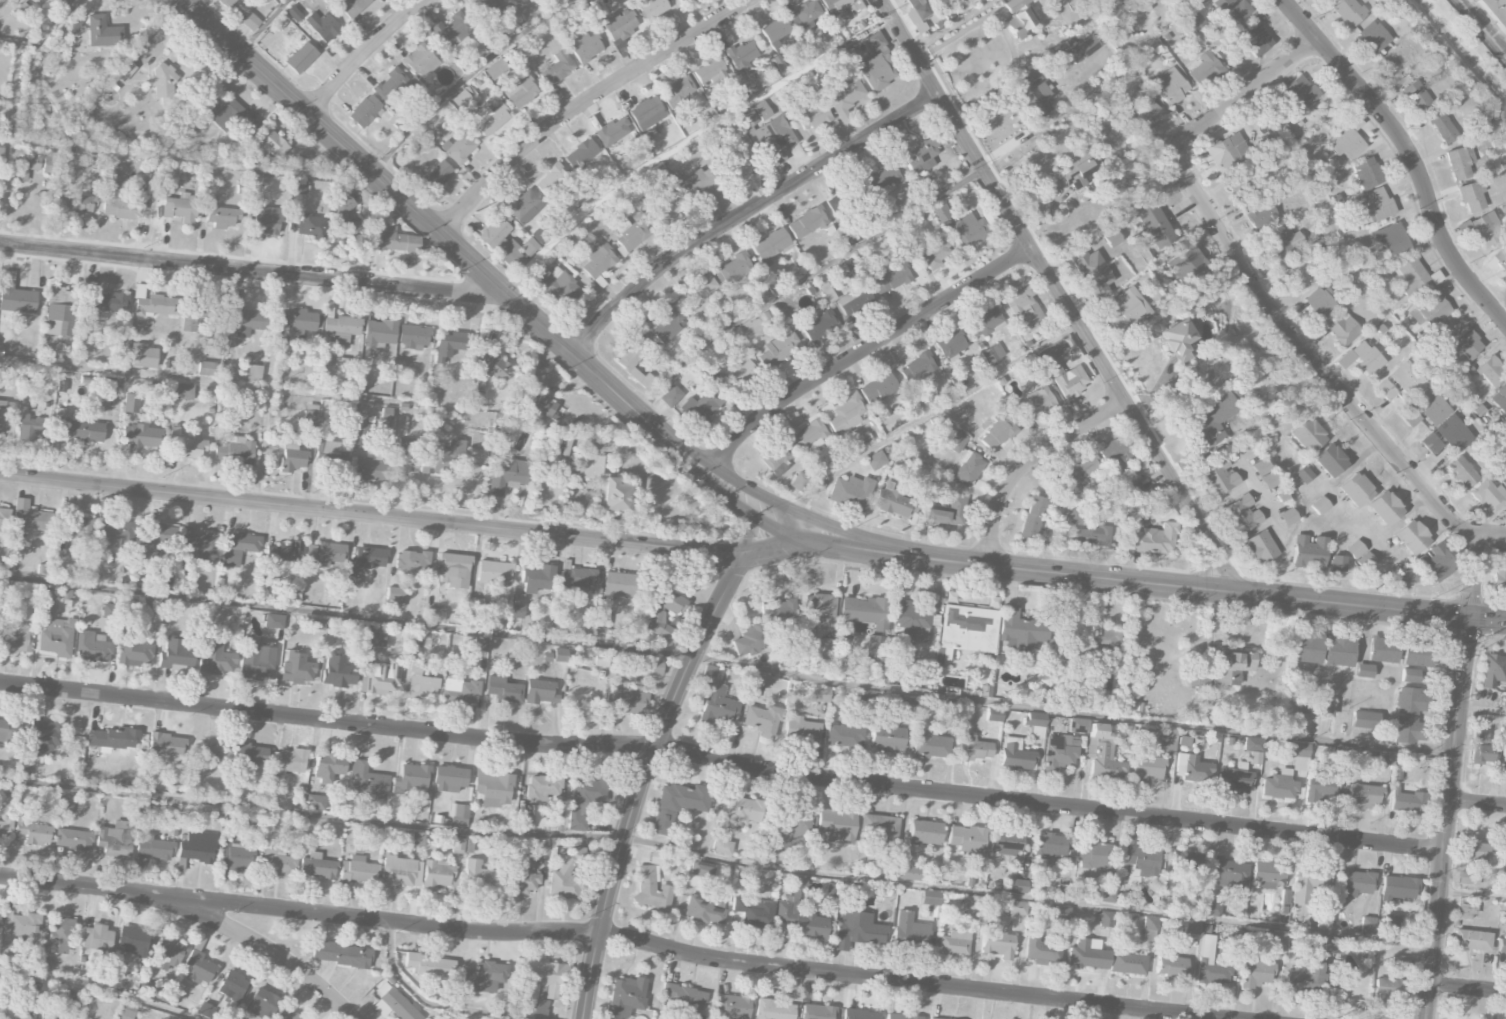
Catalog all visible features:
building: (1203, 0)
building: (1324, 0)
building: (682, 1)
building: (227, 3)
building: (60, 4)
building: (488, 5)
building: (352, 7)
building: (842, 7)
building: (652, 8)
building: (1138, 8)
building: (1232, 10)
building: (1348, 11)
building: (1495, 12)
building: (917, 13)
building: (804, 16)
building: (1018, 17)
building: (250, 21)
building: (1196, 22)
building: (619, 24)
road: (263, 26)
building: (322, 26)
building: (102, 32)
building: (450, 32)
building: (774, 32)
building: (1373, 36)
building: (1254, 39)
building: (875, 40)
building: (586, 47)
building: (1082, 48)
road: (363, 55)
building: (742, 56)
building: (301, 57)
building: (421, 60)
building: (557, 68)
building: (1204, 68)
building: (124, 70)
building: (874, 72)
building: (710, 73)
road: (468, 78)
building: (162, 82)
building: (393, 85)
building: (1170, 86)
building: (521, 91)
building: (1299, 91)
building: (678, 92)
building: (1033, 92)
building: (842, 93)
building: (1417, 97)
road: (584, 104)
building: (364, 111)
building: (646, 113)
building: (1147, 113)
building: (231, 116)
building: (813, 116)
building: (490, 120)
building: (1441, 126)
building: (612, 131)
road: (688, 140)
building: (1345, 142)
building: (270, 144)
building: (460, 148)
building: (1226, 151)
building: (581, 152)
building: (1, 155)
road: (1408, 155)
building: (920, 156)
road: (186, 161)
building: (743, 162)
building: (1459, 162)
building: (26, 165)
building: (49, 165)
building: (1076, 167)
building: (1366, 173)
building: (437, 175)
building: (882, 177)
building: (551, 179)
building: (700, 183)
building: (298, 186)
building: (1100, 191)
building: (1470, 196)
building: (118, 197)
building: (75, 203)
building: (1378, 204)
building: (666, 205)
building: (524, 206)
building: (179, 208)
road: (747, 212)
building: (1259, 213)
building: (222, 217)
building: (268, 220)
building: (346, 221)
building: (807, 222)
building: (1156, 224)
building: (311, 225)
building: (1487, 228)
building: (967, 231)
building: (631, 233)
building: (390, 238)
building: (1112, 238)
building: (1391, 238)
building: (503, 242)
building: (1282, 242)
building: (770, 245)
building: (528, 247)
building: (934, 252)
building: (1498, 259)
building: (598, 260)
building: (1188, 266)
building: (734, 268)
road: (256, 272)
building: (1092, 272)
building: (1302, 272)
building: (1410, 275)
road: (803, 279)
building: (890, 279)
building: (558, 284)
road: (1253, 288)
building: (699, 290)
building: (15, 295)
road: (1061, 297)
building: (854, 300)
building: (108, 302)
building: (1321, 302)
building: (154, 305)
building: (1430, 308)
building: (1024, 309)
building: (60, 311)
building: (1126, 311)
building: (194, 314)
building: (246, 321)
building: (666, 322)
building: (985, 322)
building: (298, 323)
building: (819, 326)
building: (341, 327)
building: (1343, 329)
building: (380, 332)
building: (414, 337)
building: (1178, 337)
building: (951, 344)
building: (1466, 344)
building: (448, 345)
building: (779, 349)
building: (631, 353)
road: (864, 353)
building: (992, 354)
building: (143, 356)
building: (1367, 357)
building: (918, 367)
building: (206, 368)
building: (1053, 368)
building: (497, 369)
building: (740, 369)
building: (1490, 372)
building: (254, 373)
building: (711, 373)
building: (1407, 379)
building: (878, 388)
building: (1385, 390)
building: (184, 391)
building: (671, 396)
building: (1499, 398)
building: (131, 403)
building: (535, 403)
building: (1037, 404)
building: (1431, 406)
building: (700, 407)
building: (844, 413)
building: (386, 415)
building: (2, 416)
road: (925, 416)
building: (1409, 416)
building: (1210, 419)
building: (28, 427)
building: (78, 429)
building: (997, 432)
building: (1453, 433)
building: (807, 434)
building: (1307, 435)
building: (141, 436)
building: (362, 437)
building: (956, 442)
building: (1431, 443)
building: (187, 446)
building: (235, 451)
building: (332, 453)
building: (406, 455)
building: (443, 457)
building: (774, 457)
building: (1115, 457)
building: (293, 458)
building: (875, 460)
building: (1330, 460)
road: (1028, 464)
building: (365, 469)
building: (968, 470)
building: (1462, 472)
building: (1081, 474)
building: (1264, 474)
building: (1303, 474)
building: (1218, 476)
building: (506, 477)
building: (799, 482)
building: (605, 486)
building: (1355, 489)
building: (851, 492)
building: (1133, 492)
road: (738, 495)
building: (1489, 495)
building: (893, 501)
building: (1384, 507)
building: (945, 513)
building: (1241, 514)
road: (371, 515)
building: (1031, 517)
building: (1073, 517)
building: (1287, 517)
building: (4, 519)
building: (26, 521)
road: (751, 530)
road: (1492, 532)
building: (69, 533)
building: (115, 533)
building: (1088, 536)
building: (1411, 536)
building: (157, 537)
building: (1154, 539)
building: (197, 545)
building: (238, 547)
building: (1259, 547)
building: (284, 552)
building: (1308, 552)
building: (324, 553)
building: (1502, 557)
building: (366, 560)
building: (1364, 561)
building: (411, 562)
building: (1337, 563)
building: (1433, 564)
building: (453, 570)
building: (494, 572)
building: (1407, 574)
road: (1474, 576)
building: (1499, 578)
building: (538, 579)
building: (577, 580)
building: (620, 584)
building: (395, 597)
building: (46, 601)
building: (477, 605)
building: (517, 606)
building: (152, 607)
building: (819, 610)
building: (866, 611)
building: (779, 612)
building: (664, 613)
building: (435, 614)
traffic signals: (1469, 620)
building: (274, 621)
road: (1487, 622)
building: (966, 630)
building: (1021, 632)
building: (55, 635)
building: (376, 635)
building: (16, 638)
building: (751, 639)
building: (1104, 639)
building: (477, 644)
building: (1306, 646)
building: (93, 647)
building: (874, 648)
building: (132, 649)
building: (1338, 649)
building: (1383, 650)
building: (1417, 653)
building: (560, 654)
building: (176, 655)
building: (215, 659)
building: (256, 660)
road: (727, 663)
building: (652, 666)
building: (1231, 666)
building: (297, 669)
building: (1363, 670)
building: (1492, 670)
building: (338, 671)
building: (1410, 675)
building: (381, 677)
building: (759, 679)
building: (423, 686)
building: (503, 690)
building: (460, 691)
building: (540, 692)
building: (819, 694)
building: (716, 698)
building: (629, 700)
building: (1410, 701)
building: (906, 703)
road: (1482, 707)
building: (1325, 708)
building: (948, 709)
building: (995, 714)
building: (763, 720)
building: (1365, 720)
building: (1036, 724)
building: (1078, 725)
building: (1406, 729)
building: (7, 730)
building: (802, 730)
building: (45, 736)
building: (844, 736)
building: (113, 738)
building: (888, 738)
building: (1167, 741)
building: (932, 745)
building: (166, 746)
road: (658, 746)
building: (1482, 747)
building: (974, 749)
building: (1253, 749)
building: (1300, 749)
building: (212, 753)
building: (1058, 753)
building: (1340, 753)
building: (248, 755)
building: (1016, 755)
building: (1103, 755)
building: (1504, 755)
building: (1385, 758)
road: (721, 761)
building: (287, 762)
building: (329, 766)
building: (1147, 767)
building: (1191, 769)
building: (410, 778)
building: (449, 778)
building: (1235, 779)
building: (369, 782)
building: (541, 785)
building: (1278, 785)
building: (493, 788)
building: (1320, 788)
building: (1363, 795)
building: (584, 800)
building: (1407, 801)
building: (315, 802)
road: (1477, 803)
building: (678, 804)
building: (66, 805)
building: (743, 811)
building: (459, 814)
road: (1446, 819)
building: (525, 821)
building: (838, 825)
building: (6, 828)
building: (791, 828)
building: (880, 829)
building: (32, 830)
building: (924, 832)
building: (116, 838)
building: (74, 839)
building: (417, 839)
building: (967, 839)
building: (1006, 842)
building: (458, 845)
building: (197, 846)
building: (1050, 846)
building: (153, 847)
building: (722, 847)
building: (1475, 850)
building: (1095, 855)
road: (716, 856)
building: (237, 857)
building: (1138, 857)
building: (1504, 858)
building: (1180, 861)
building: (276, 862)
building: (316, 866)
building: (909, 869)
building: (358, 870)
building: (699, 871)
building: (401, 872)
building: (1228, 873)
building: (436, 874)
building: (568, 874)
building: (1267, 874)
building: (479, 877)
building: (1468, 878)
building: (521, 880)
building: (1308, 882)
building: (1354, 883)
building: (1017, 885)
building: (1398, 887)
building: (650, 890)
road: (1472, 893)
building: (1107, 894)
building: (931, 897)
building: (790, 905)
building: (1211, 909)
building: (703, 910)
building: (1014, 911)
building: (1465, 911)
building: (754, 913)
building: (1060, 913)
building: (1105, 920)
building: (1390, 923)
building: (810, 925)
building: (1367, 925)
building: (1191, 927)
building: (22, 928)
building: (1149, 928)
building: (858, 930)
building: (911, 930)
building: (59, 935)
road: (609, 937)
building: (96, 938)
building: (1276, 938)
building: (1471, 940)
building: (132, 941)
building: (997, 941)
building: (954, 943)
building: (1502, 943)
building: (1328, 945)
road: (266, 948)
building: (1041, 950)
building: (167, 954)
building: (341, 954)
building: (1088, 954)
building: (1399, 962)
building: (1128, 963)
building: (429, 965)
building: (1211, 965)
building: (1171, 966)
building: (199, 968)
building: (1256, 974)
building: (1313, 977)
building: (483, 978)
building: (232, 986)
road: (98, 987)
building: (148, 988)
road: (1467, 988)
building: (1388, 990)
building: (529, 992)
building: (625, 997)
building: (683, 997)
road: (423, 1000)
building: (262, 1003)
building: (394, 1005)
building: (731, 1006)
building: (205, 1010)
building: (774, 1010)
building: (127, 1011)
building: (49, 1012)
building: (818, 1012)
building: (860, 1014)
building: (13, 1015)
building: (291, 1015)
building: (902, 1016)
building: (177, 1018)
building: (233, 1018)
building: (932, 1018)

